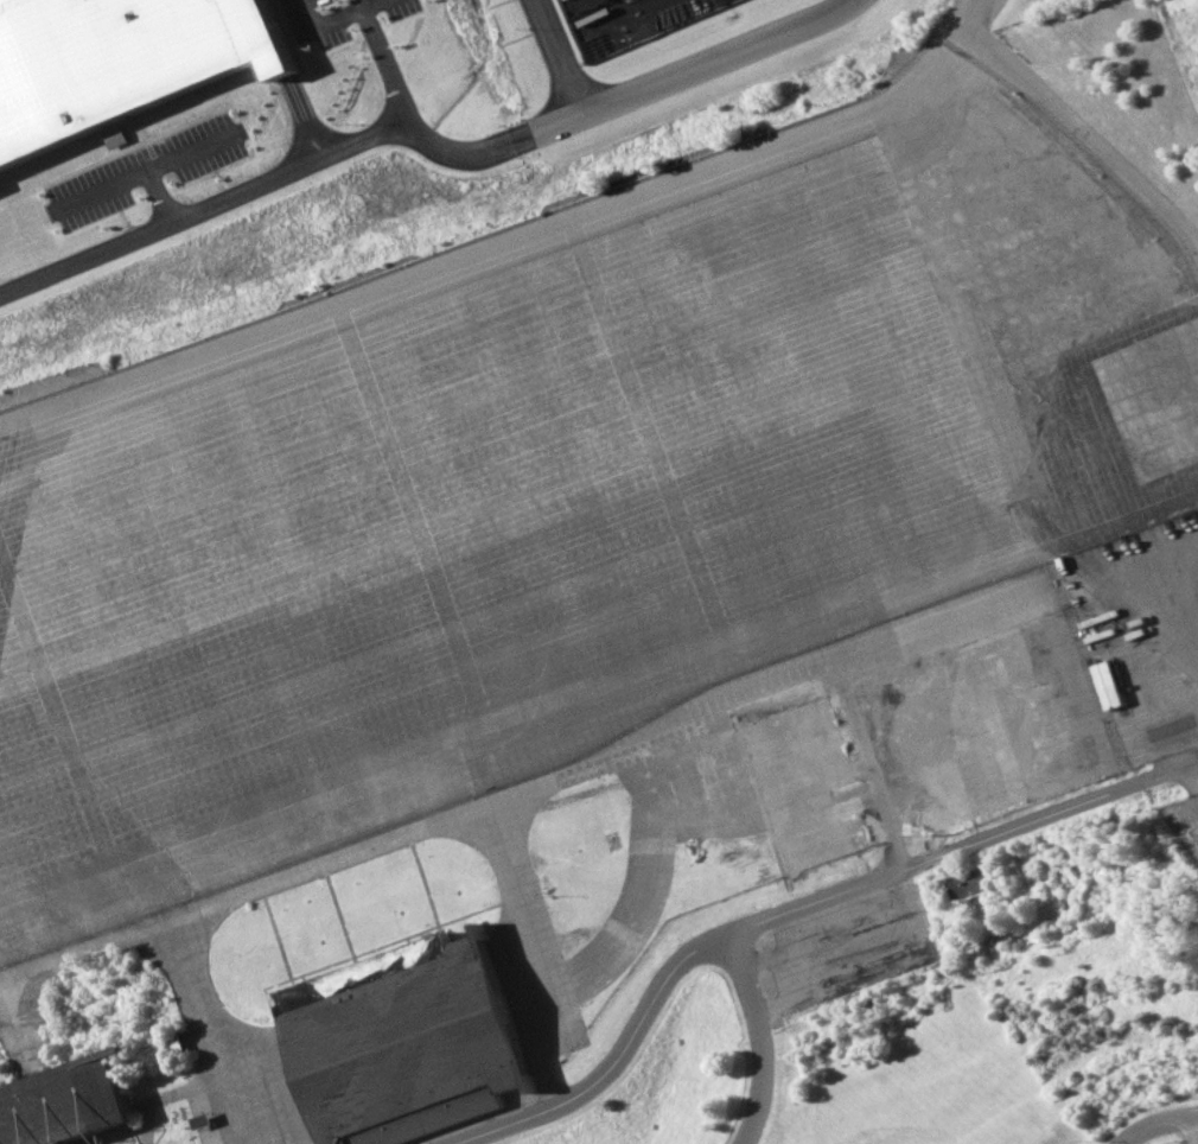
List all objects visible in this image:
parking lot: (349, 24)
road: (961, 24)
road: (554, 57)
road: (382, 59)
building: (119, 62)
building: (116, 136)
road: (1083, 136)
road: (419, 138)
building: (1107, 685)
road: (677, 723)
road: (555, 776)
road: (305, 864)
building: (966, 882)
road: (762, 919)
road: (90, 942)
road: (760, 1037)
airport hangar: (407, 1040)
building: (407, 1040)
building: (176, 1042)
airport hangar: (66, 1101)
building: (66, 1101)
road: (234, 1118)
building: (204, 1119)
road: (1153, 1121)

